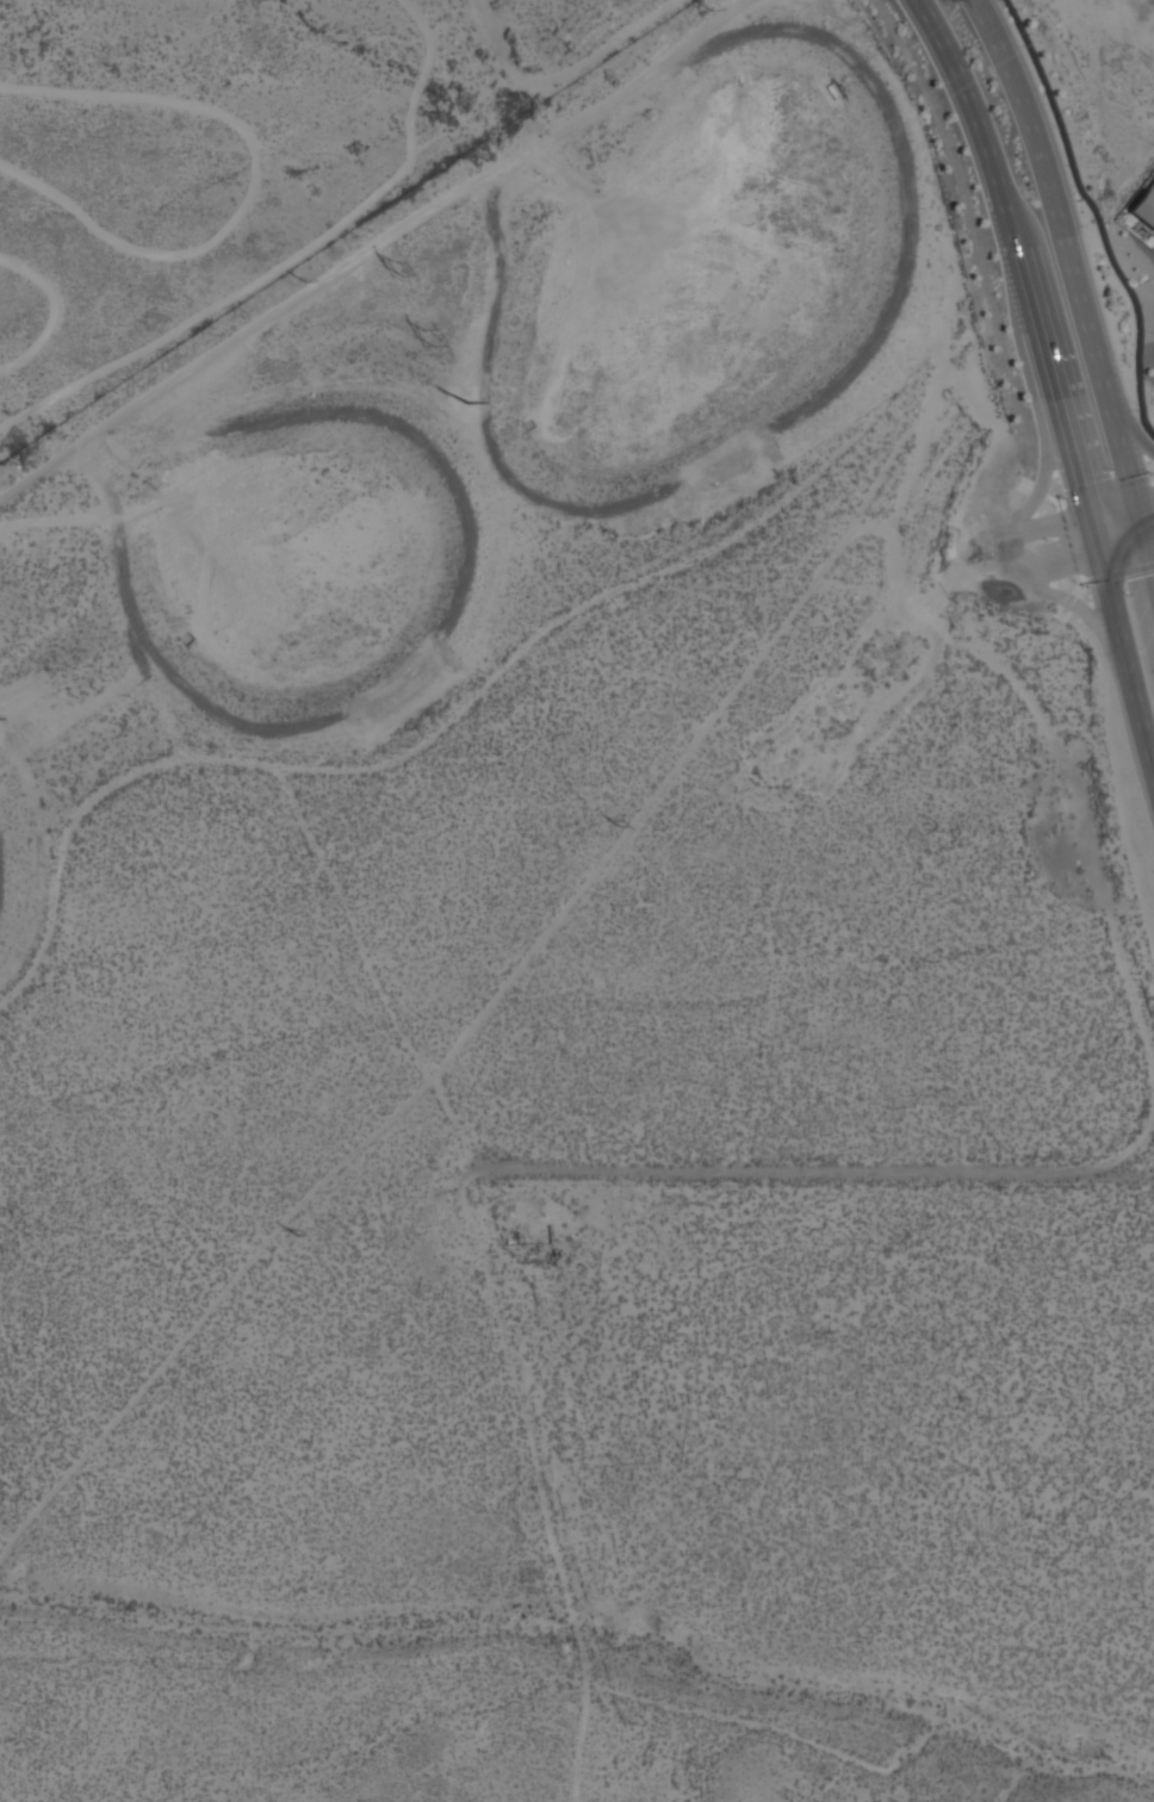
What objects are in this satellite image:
dam: (1147, 1)
power tower: (1059, 4)
road: (991, 27)
building: (1146, 206)
road: (1097, 213)
road: (976, 237)
road: (1018, 246)
power tower: (402, 271)
road: (1087, 291)
dam: (900, 317)
power tower: (427, 340)
power tower: (466, 405)
power tower: (943, 405)
road: (1137, 434)
road: (1046, 480)
traffic signals: (1142, 493)
road: (1119, 497)
traffic signals: (1087, 505)
road: (1031, 517)
dam: (477, 545)
road: (1127, 548)
traffic signals: (1099, 554)
road: (1050, 565)
road: (998, 578)
road: (1067, 603)
road: (1121, 640)
power tower: (613, 821)
dam: (7, 872)
power tower: (288, 1232)

